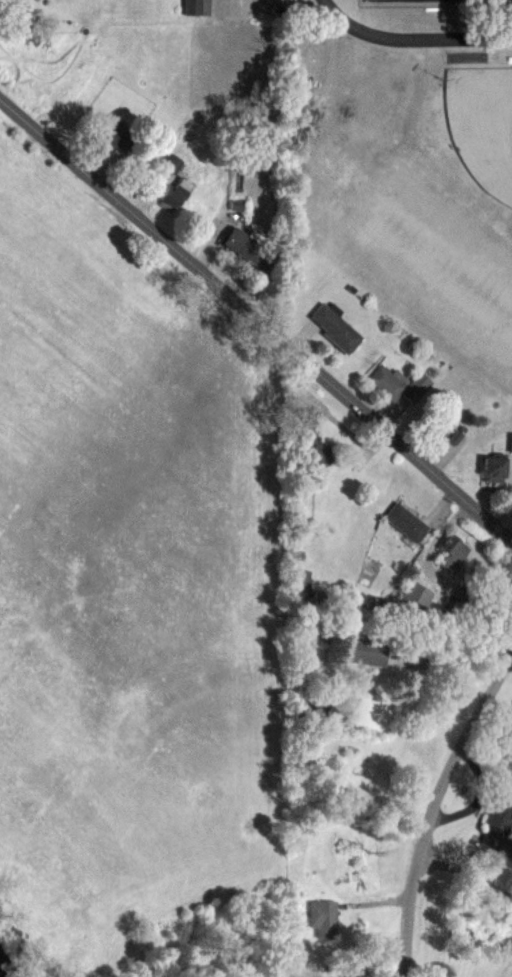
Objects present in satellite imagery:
building: (504, 2)
building: (197, 6)
road: (413, 37)
park: (483, 125)
building: (109, 136)
building: (170, 161)
building: (248, 247)
road: (256, 319)
building: (335, 326)
building: (398, 383)
building: (313, 441)
building: (510, 441)
building: (493, 466)
building: (405, 522)
building: (451, 553)
building: (301, 583)
building: (414, 596)
building: (361, 650)
road: (431, 804)
building: (498, 818)
road: (464, 872)
building: (323, 917)
river: (0, 976)

